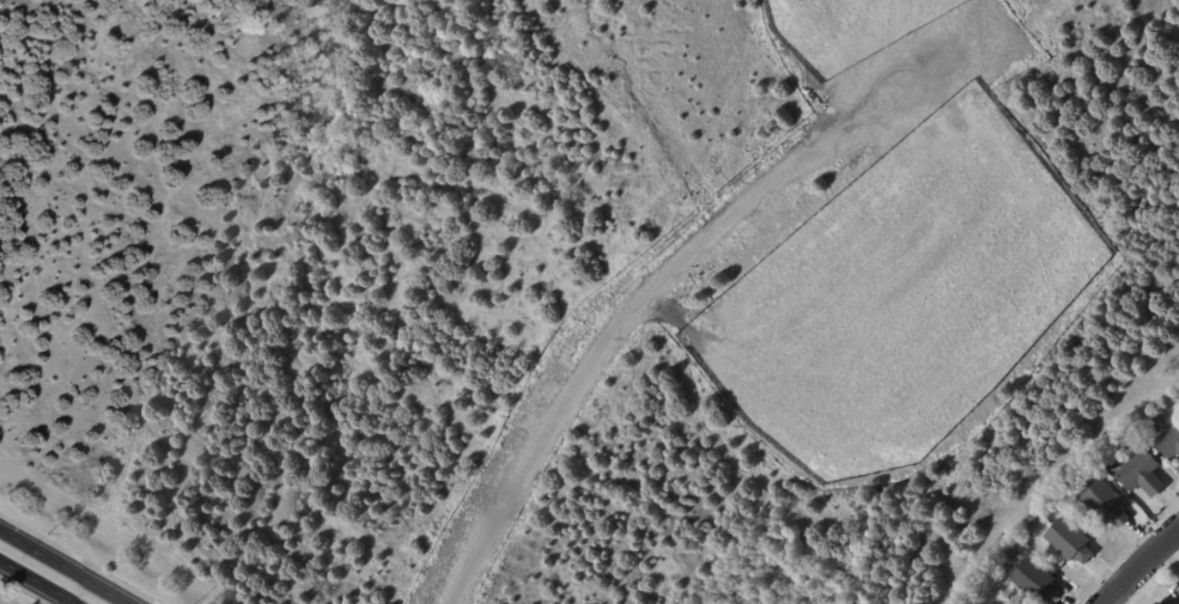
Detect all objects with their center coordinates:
road: (640, 311)
building: (1159, 420)
building: (1169, 443)
building: (1142, 474)
building: (1107, 504)
building: (1070, 541)
road: (1138, 563)
road: (63, 567)
building: (1038, 580)
road: (36, 582)
building: (997, 602)
building: (973, 603)
building: (1160, 603)
building: (1162, 603)

